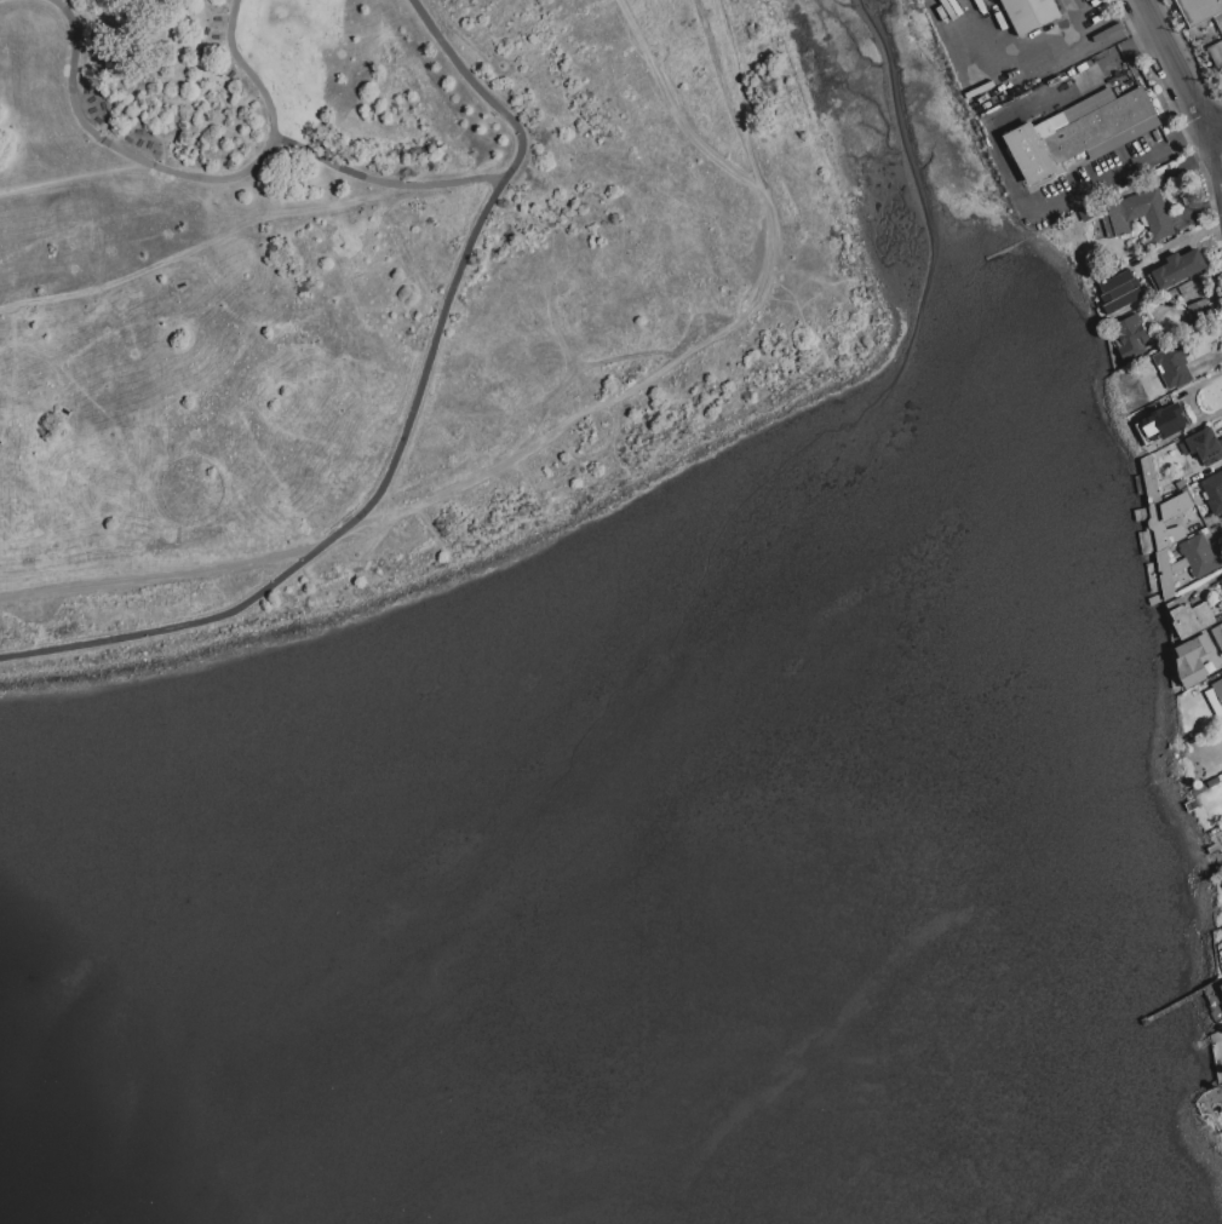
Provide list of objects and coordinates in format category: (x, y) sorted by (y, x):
building: (1201, 11)
building: (1029, 13)
road: (1147, 16)
road: (1038, 46)
road: (1134, 46)
building: (1216, 53)
road: (1181, 84)
building: (1079, 133)
road: (1215, 133)
road: (1191, 142)
road: (1215, 157)
road: (188, 174)
road: (383, 182)
road: (1009, 184)
building: (1138, 214)
road: (203, 241)
road: (1181, 241)
building: (1180, 269)
building: (1120, 291)
building: (1203, 306)
building: (1131, 337)
building: (1174, 366)
building: (1161, 424)
road: (405, 430)
road: (545, 442)
building: (1205, 444)
building: (1151, 479)
building: (1214, 492)
building: (1158, 523)
building: (1200, 554)
building: (1169, 571)
building: (1221, 579)
building: (1189, 616)
building: (1217, 634)
building: (1193, 657)
building: (1217, 688)
building: (1221, 878)
building: (1221, 953)
building: (1220, 982)
building: (1221, 985)

